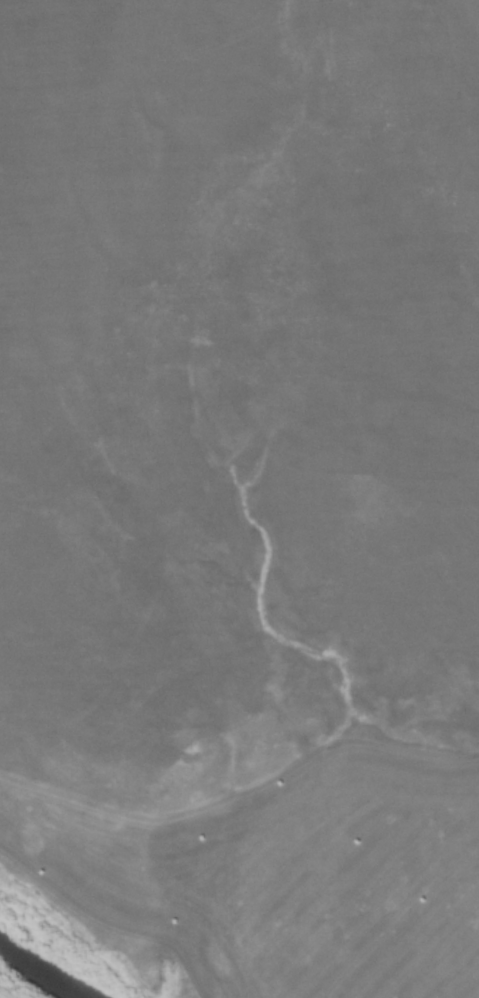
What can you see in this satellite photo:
river: (38, 973)

